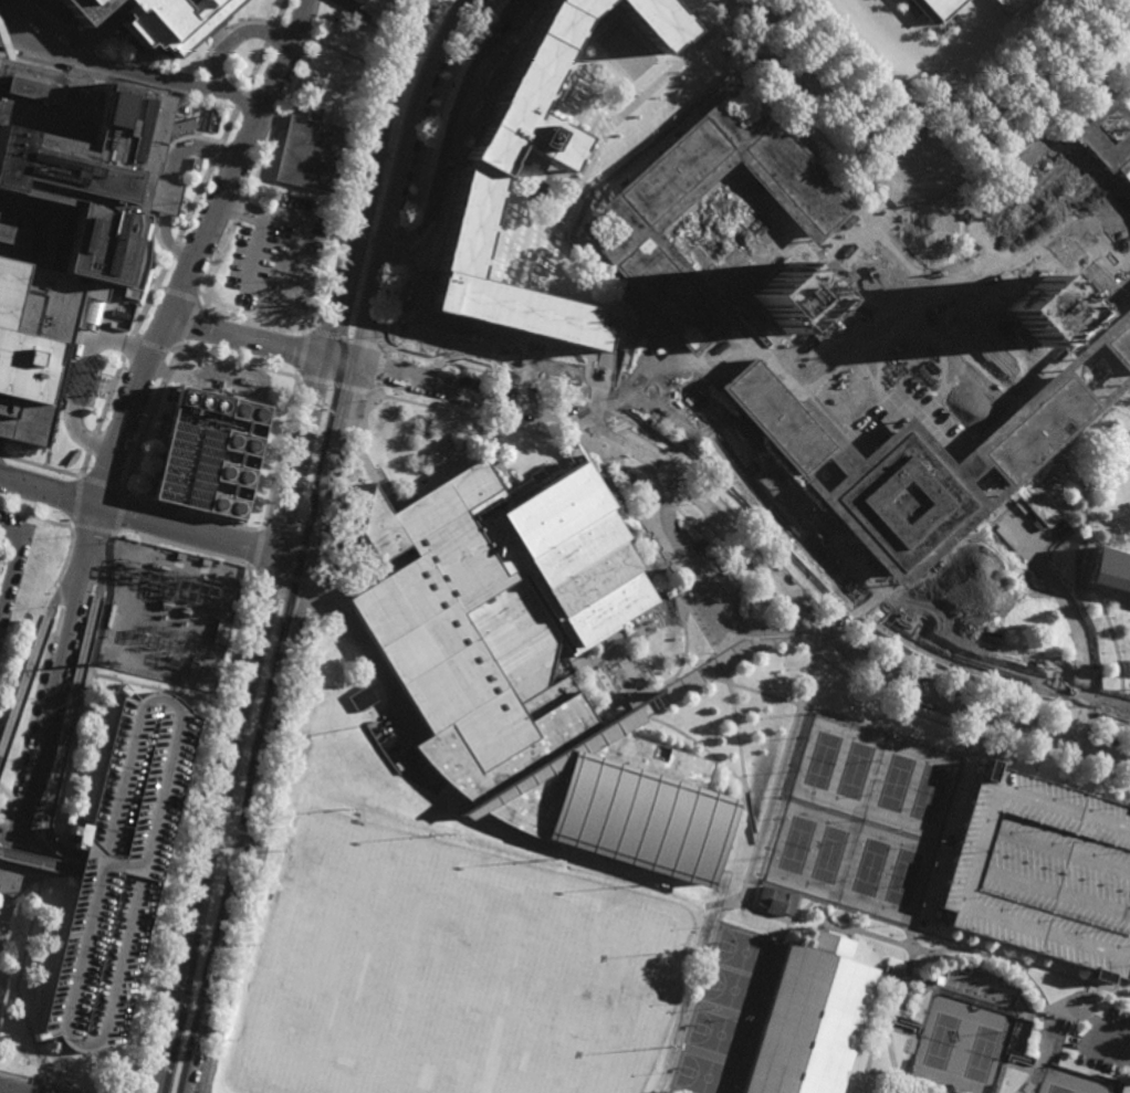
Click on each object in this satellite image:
building: (2, 1)
building: (1011, 4)
building: (376, 9)
building: (941, 9)
building: (101, 10)
building: (184, 21)
building: (657, 22)
road: (388, 32)
road: (296, 33)
road: (233, 38)
road: (8, 39)
road: (464, 46)
road: (346, 54)
road: (822, 66)
road: (130, 73)
road: (409, 82)
road: (995, 87)
road: (864, 88)
road: (830, 99)
road: (1025, 105)
road: (613, 123)
road: (449, 130)
building: (311, 151)
road: (258, 171)
building: (484, 174)
road: (401, 178)
road: (168, 180)
building: (1066, 180)
road: (448, 187)
building: (164, 197)
road: (341, 198)
road: (242, 208)
building: (67, 221)
road: (1038, 221)
road: (210, 224)
road: (177, 235)
road: (158, 288)
road: (291, 290)
road: (181, 295)
road: (1032, 295)
building: (786, 297)
building: (1042, 311)
road: (773, 312)
road: (254, 316)
road: (188, 325)
road: (721, 325)
road: (347, 338)
building: (1111, 338)
road: (113, 340)
road: (263, 341)
road: (303, 353)
road: (489, 354)
road: (182, 360)
road: (238, 365)
road: (378, 369)
road: (77, 378)
road: (530, 382)
building: (87, 383)
road: (335, 385)
road: (147, 419)
road: (81, 435)
road: (281, 452)
road: (0, 453)
building: (216, 454)
road: (109, 458)
road: (608, 460)
road: (564, 461)
road: (40, 465)
road: (103, 483)
road: (1084, 483)
road: (101, 484)
road: (991, 497)
road: (77, 502)
road: (666, 503)
road: (118, 511)
road: (191, 515)
road: (36, 516)
road: (155, 519)
road: (92, 529)
road: (282, 543)
road: (185, 545)
road: (258, 548)
road: (750, 548)
building: (582, 556)
road: (1089, 559)
road: (13, 563)
road: (98, 563)
road: (728, 564)
building: (1111, 567)
road: (70, 572)
road: (289, 578)
road: (704, 589)
building: (462, 612)
power substation: (170, 616)
road: (789, 628)
road: (1078, 631)
road: (831, 633)
road: (355, 637)
road: (613, 641)
road: (683, 655)
power tower: (111, 661)
road: (726, 662)
road: (586, 664)
road: (1120, 665)
road: (88, 670)
road: (631, 677)
road: (24, 687)
road: (604, 690)
road: (984, 690)
road: (749, 692)
building: (362, 698)
road: (1126, 698)
road: (49, 713)
road: (272, 728)
road: (67, 731)
road: (883, 732)
road: (966, 732)
road: (287, 743)
road: (697, 744)
road: (741, 754)
park: (822, 759)
park: (854, 769)
park: (896, 782)
building: (593, 788)
park: (928, 792)
road: (54, 827)
road: (189, 831)
road: (939, 841)
road: (8, 843)
park: (795, 844)
park: (828, 854)
road: (44, 855)
building: (24, 859)
road: (34, 860)
road: (45, 863)
park: (869, 868)
building: (1045, 874)
parking garage: (1045, 874)
building: (111, 875)
parking garage: (111, 875)
road: (749, 877)
park: (902, 877)
road: (752, 885)
building: (776, 902)
road: (805, 908)
road: (824, 917)
road: (1, 927)
road: (854, 927)
road: (927, 934)
road: (910, 949)
park: (746, 952)
park: (449, 969)
building: (979, 987)
park: (734, 990)
road: (18, 991)
road: (1074, 1006)
road: (1086, 1010)
building: (812, 1019)
road: (1045, 1021)
road: (898, 1028)
park: (720, 1034)
road: (889, 1034)
building: (1019, 1037)
parking lot: (1102, 1039)
park: (940, 1041)
building: (1054, 1044)
road: (1118, 1048)
park: (981, 1053)
road: (908, 1058)
road: (1007, 1063)
road: (866, 1064)
road: (48, 1075)
park: (707, 1075)
road: (40, 1083)
road: (879, 1084)
road: (909, 1089)
park: (1057, 1089)

